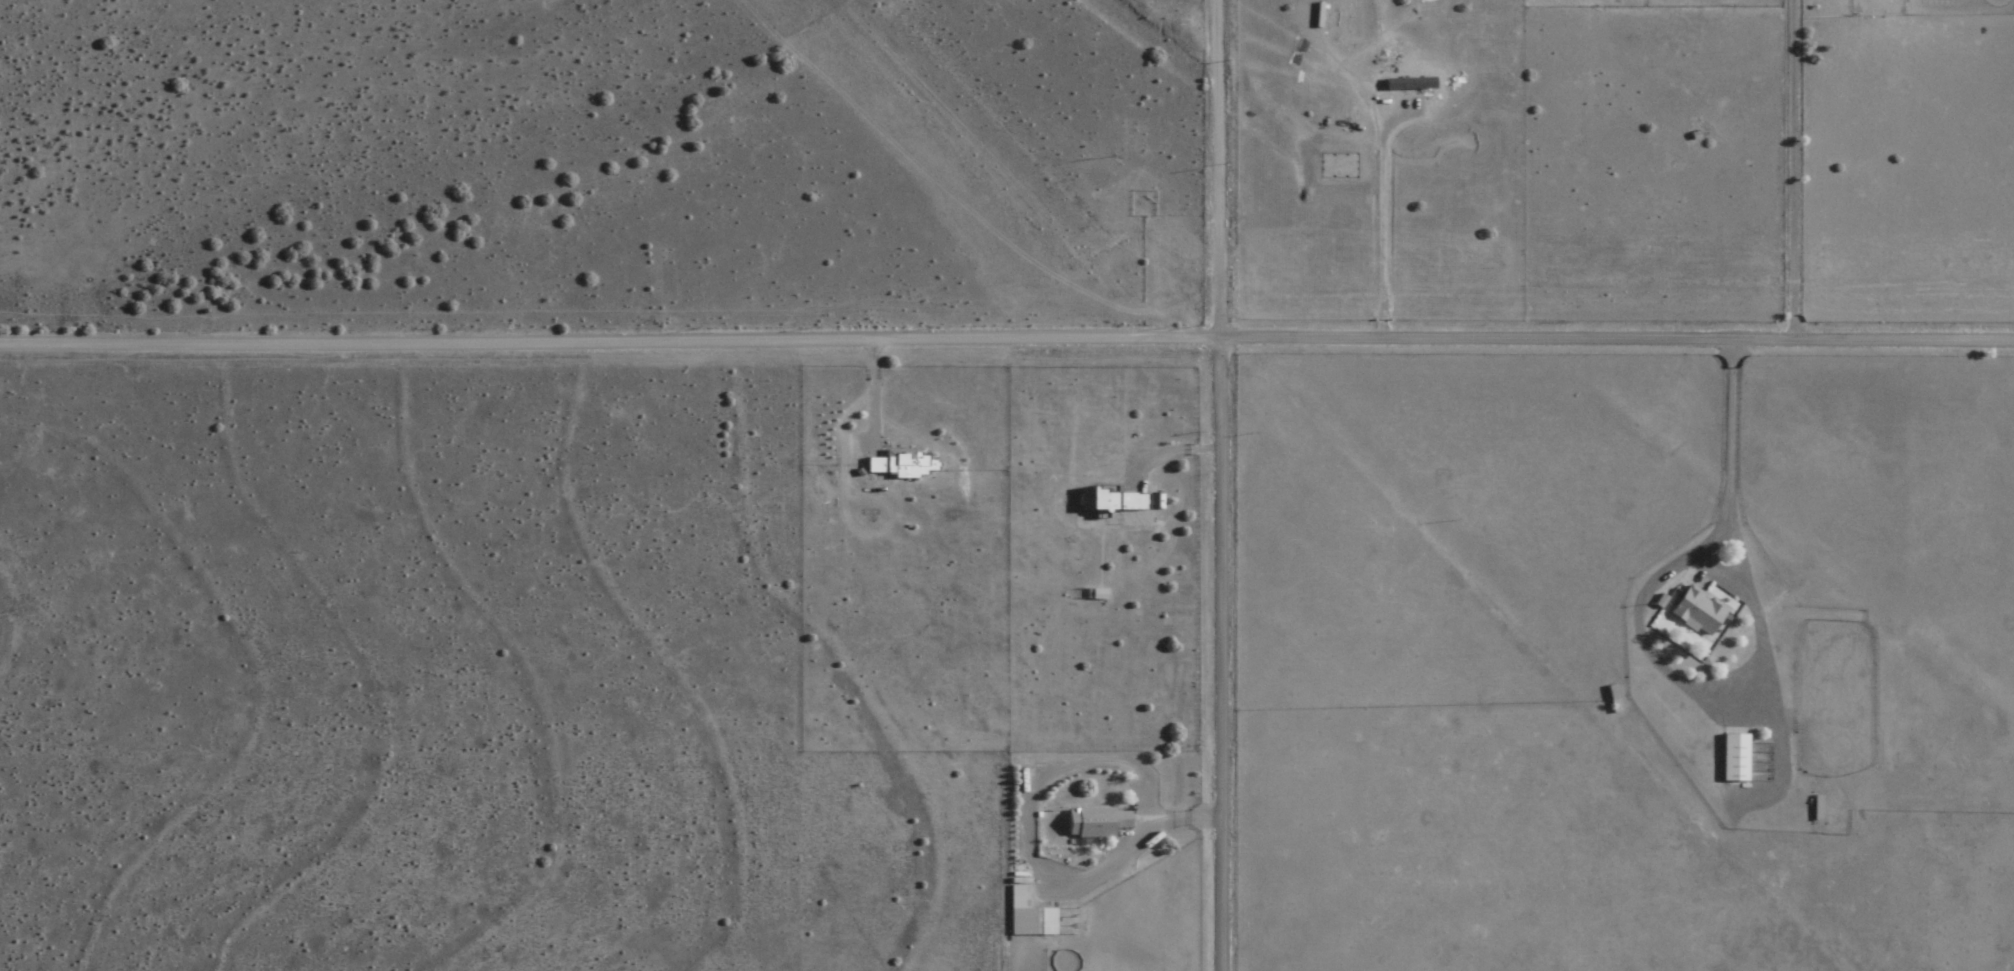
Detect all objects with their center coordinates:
road: (1006, 341)
building: (900, 465)
road: (1220, 485)
building: (1097, 501)
building: (1130, 503)
building: (1097, 596)
building: (1698, 613)
building: (1612, 701)
building: (1734, 759)
building: (1094, 822)
building: (1032, 922)

